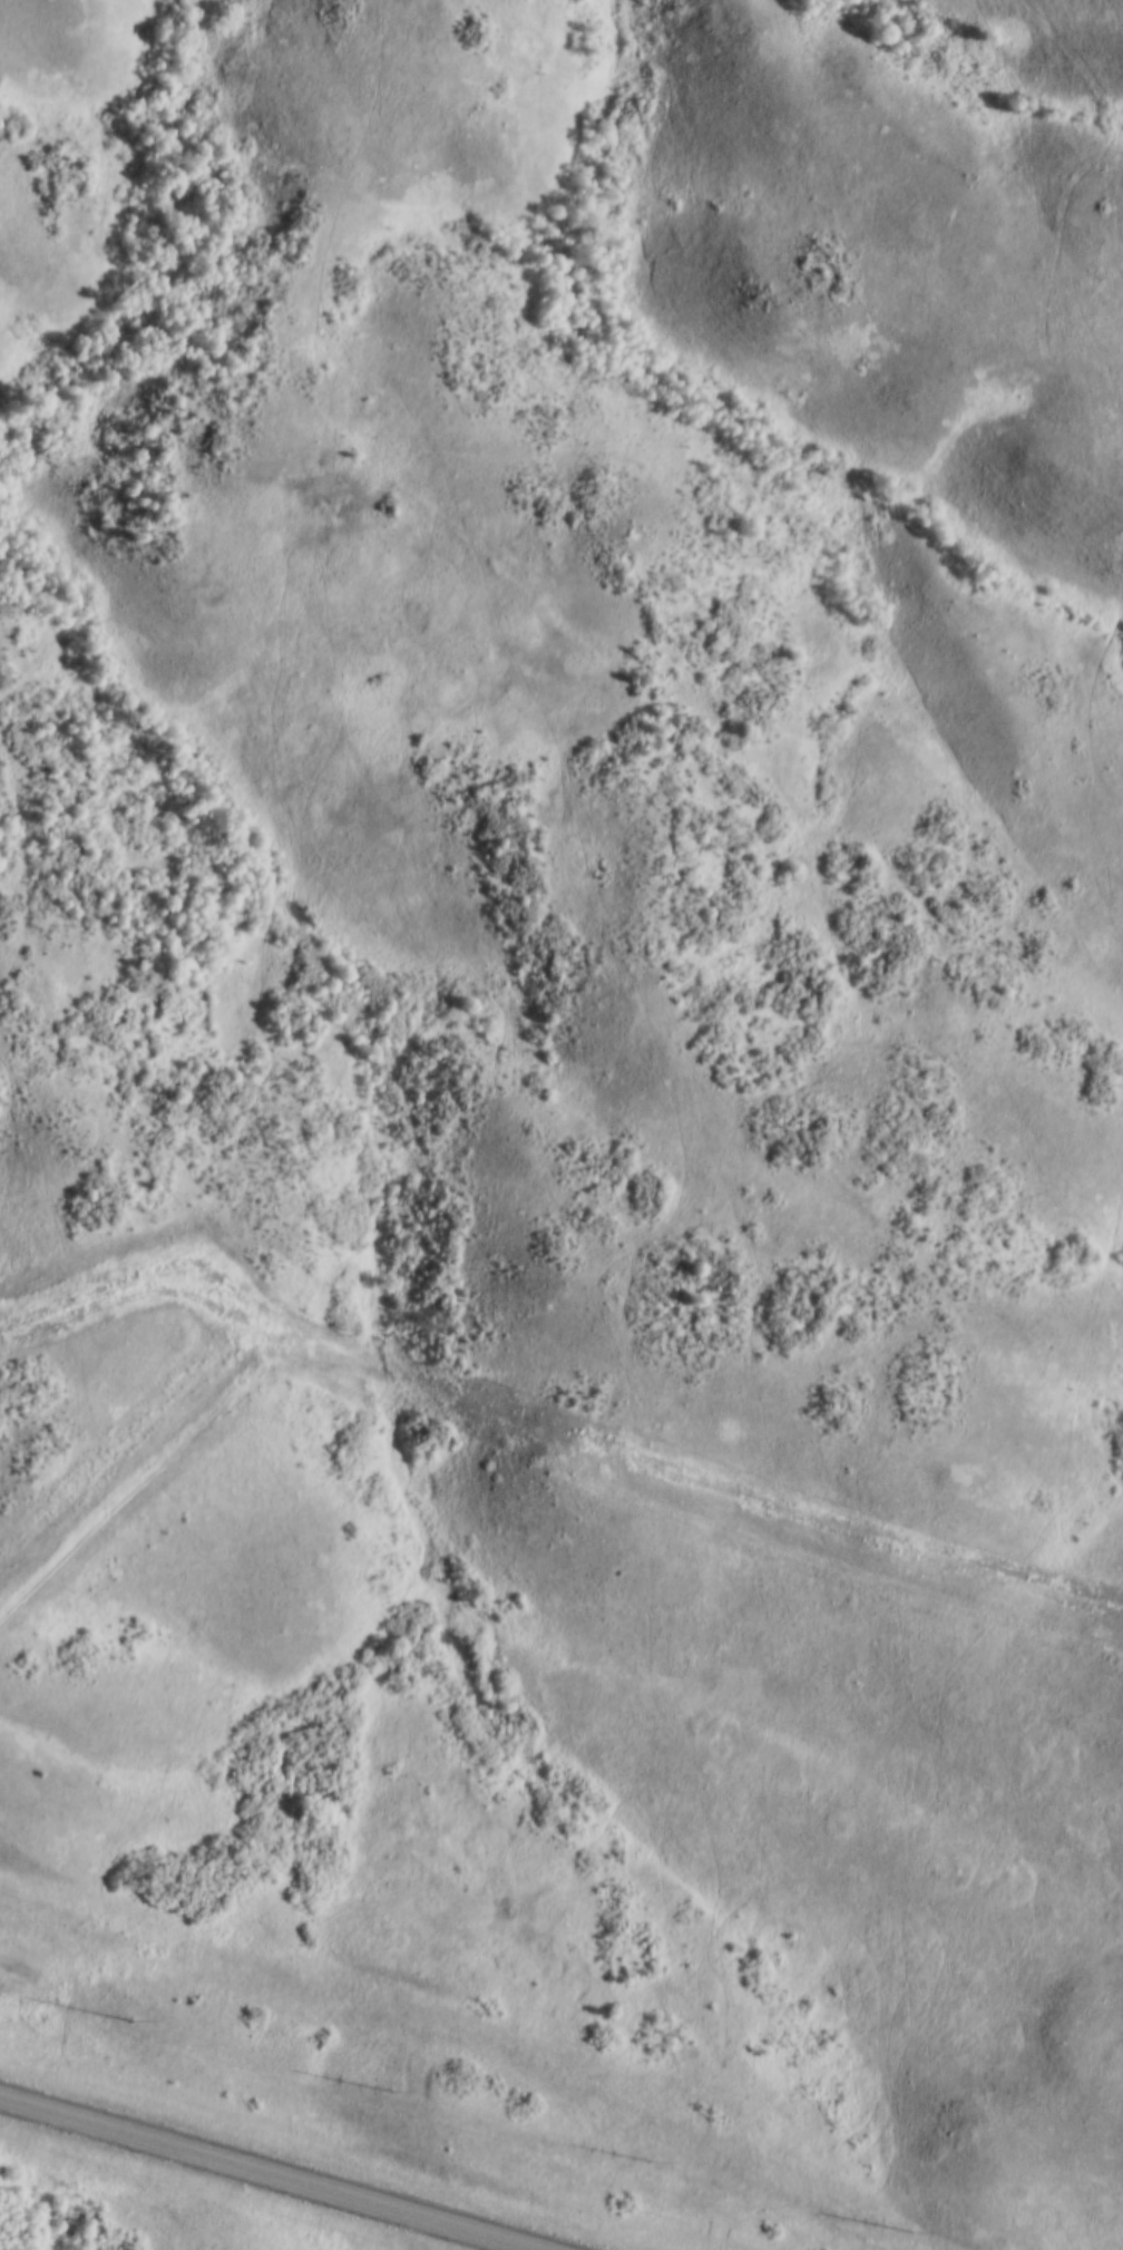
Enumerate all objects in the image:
road: (266, 2171)

